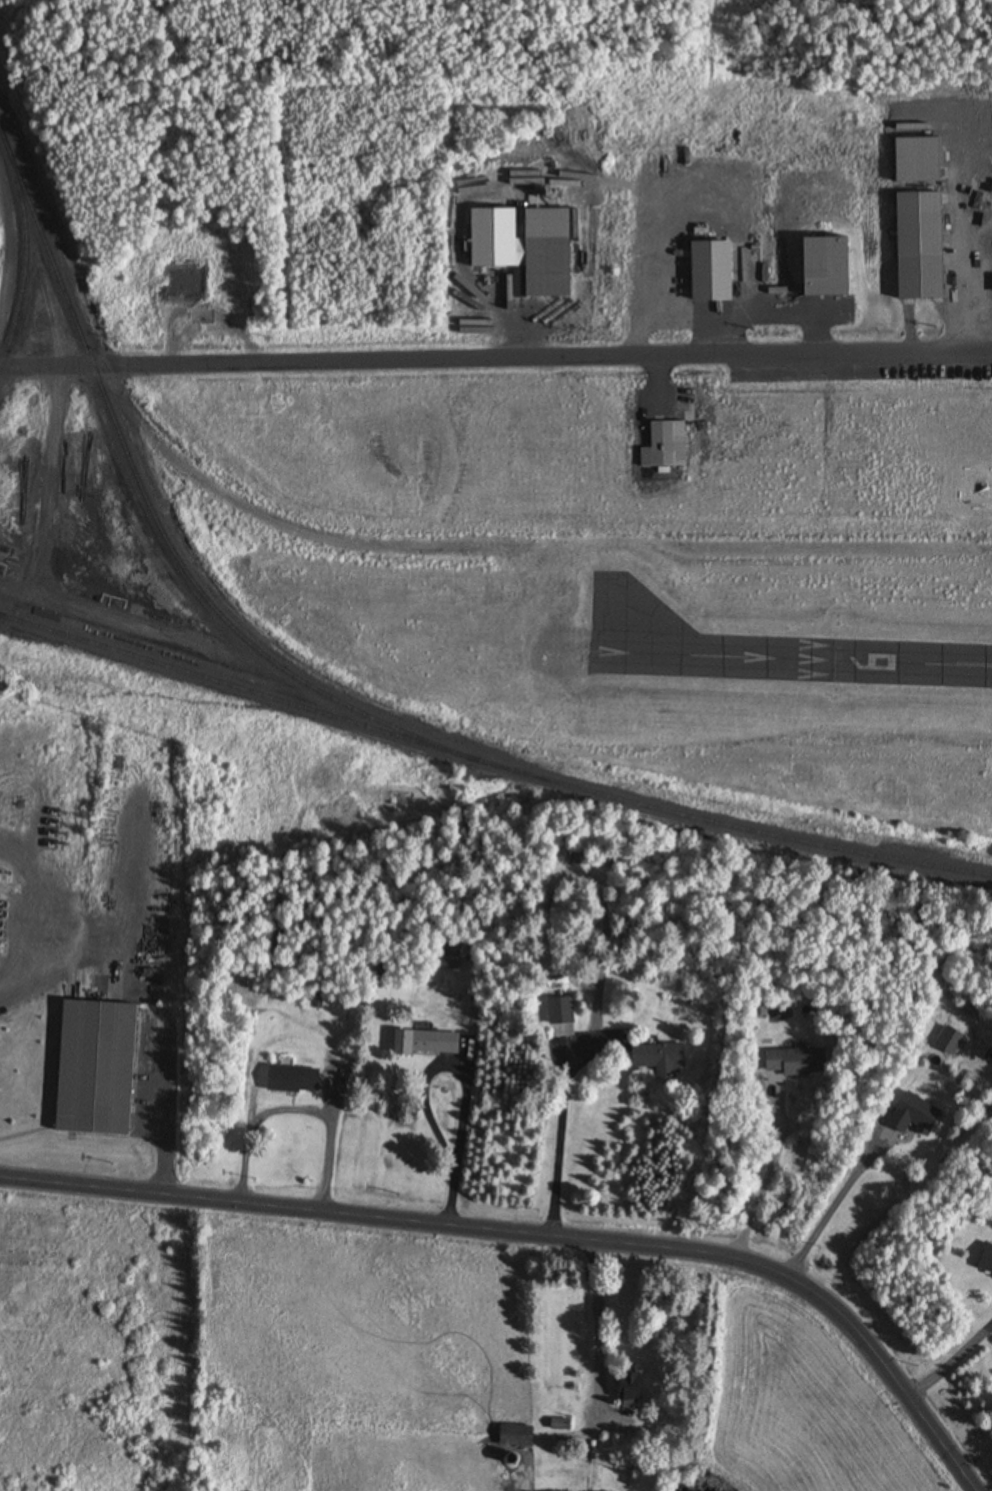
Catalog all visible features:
park: (741, 144)
building: (524, 249)
railway: (25, 251)
building: (915, 256)
railway: (50, 257)
building: (822, 268)
building: (707, 272)
road: (496, 361)
building: (663, 445)
airport: (613, 553)
railway: (2, 614)
railway: (233, 629)
airport runway: (799, 658)
railway: (237, 687)
park: (839, 784)
railway: (731, 826)
building: (449, 956)
building: (317, 1002)
building: (560, 1014)
building: (947, 1041)
building: (424, 1042)
building: (656, 1058)
building: (792, 1062)
building: (101, 1065)
building: (295, 1080)
building: (912, 1115)
road: (539, 1233)
building: (984, 1262)
building: (626, 1387)
building: (558, 1425)
building: (515, 1436)
building: (512, 1481)

